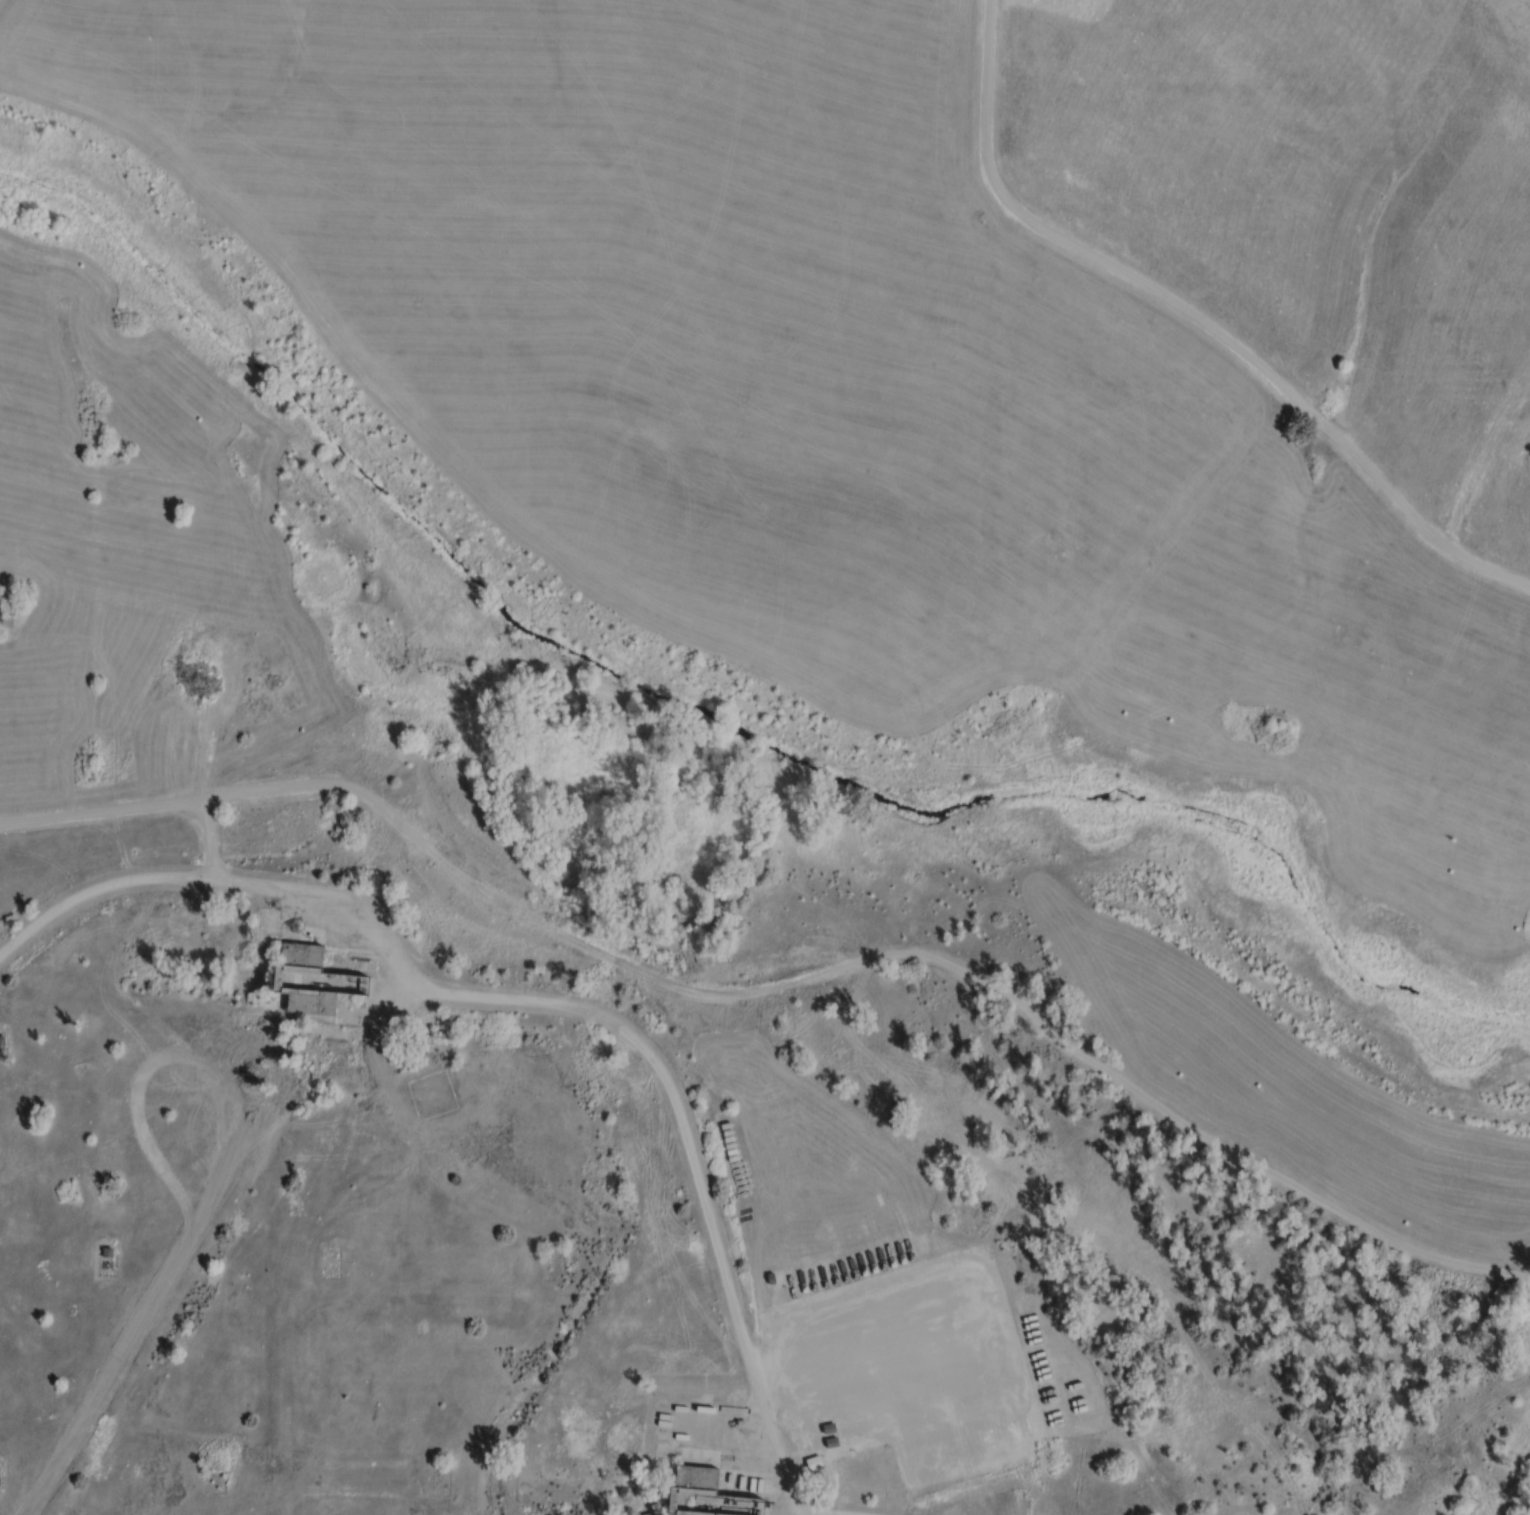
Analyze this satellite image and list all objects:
road: (1199, 315)
river: (727, 722)
road: (106, 814)
road: (846, 963)
building: (318, 984)
road: (546, 1008)
road: (357, 1052)
building: (108, 1251)
parking lot: (907, 1368)
building: (713, 1451)
building: (715, 1490)
building: (647, 1514)
road: (806, 1514)

